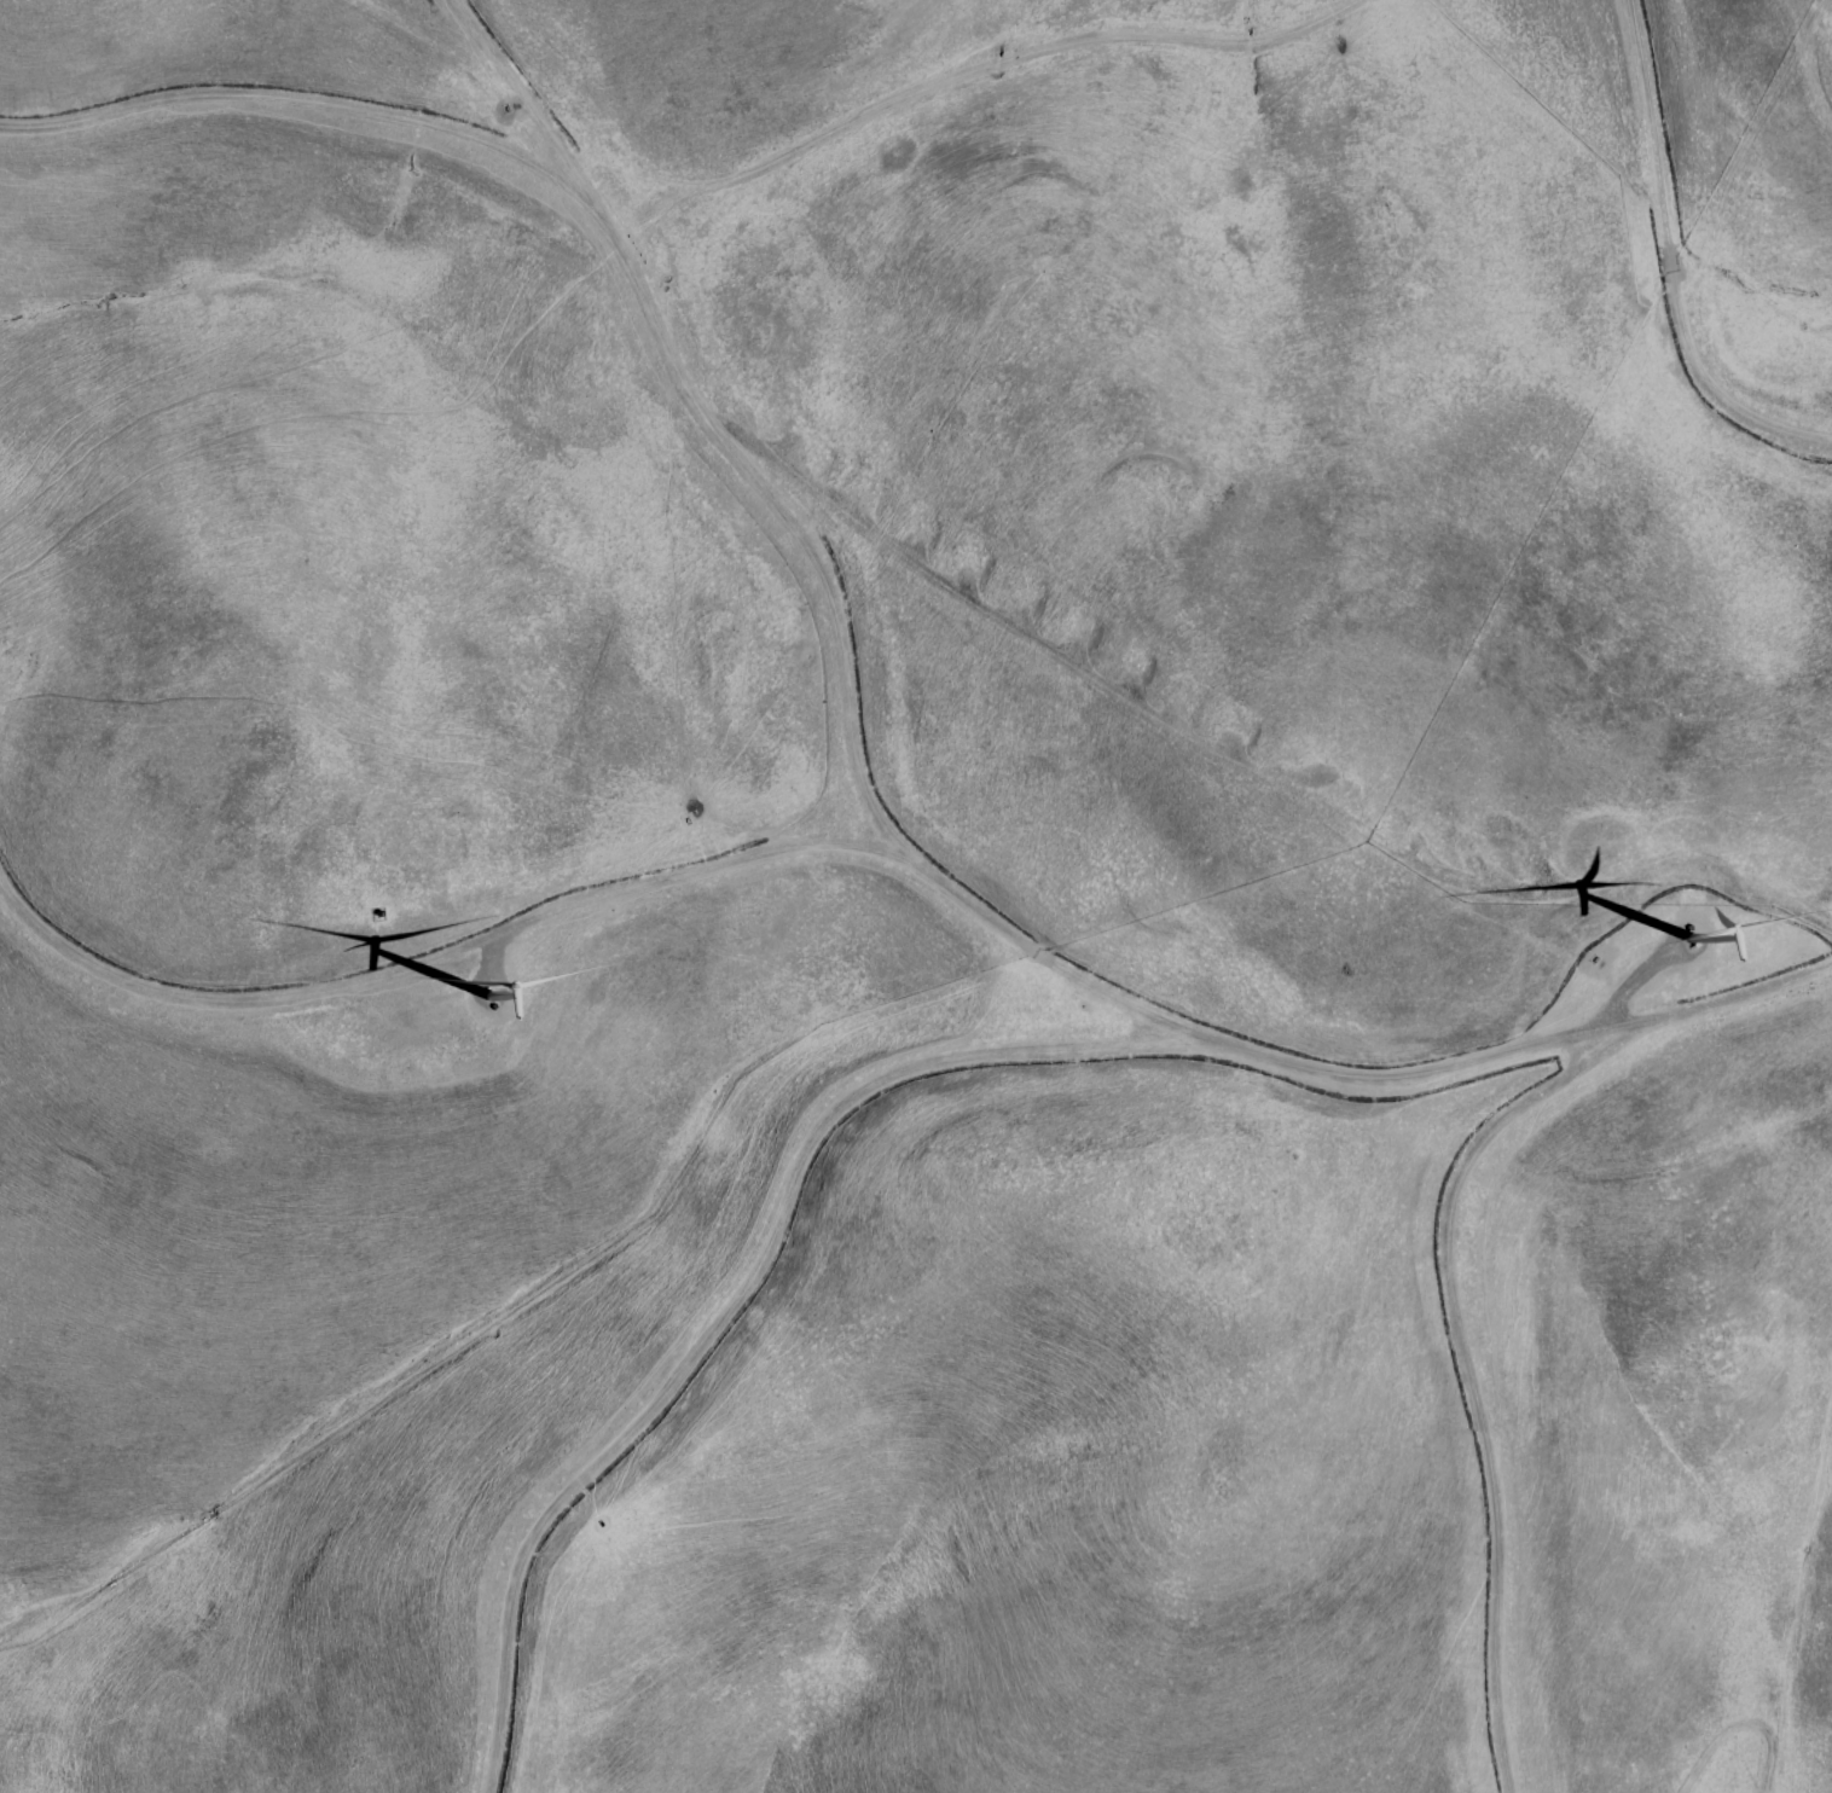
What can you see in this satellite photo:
road: (914, 94)
road: (297, 106)
road: (1653, 278)
road: (904, 871)
wind turbine: (1682, 930)
road: (450, 959)
wind turbine: (487, 986)
road: (724, 1304)
road: (1444, 1335)
road: (1779, 1696)

